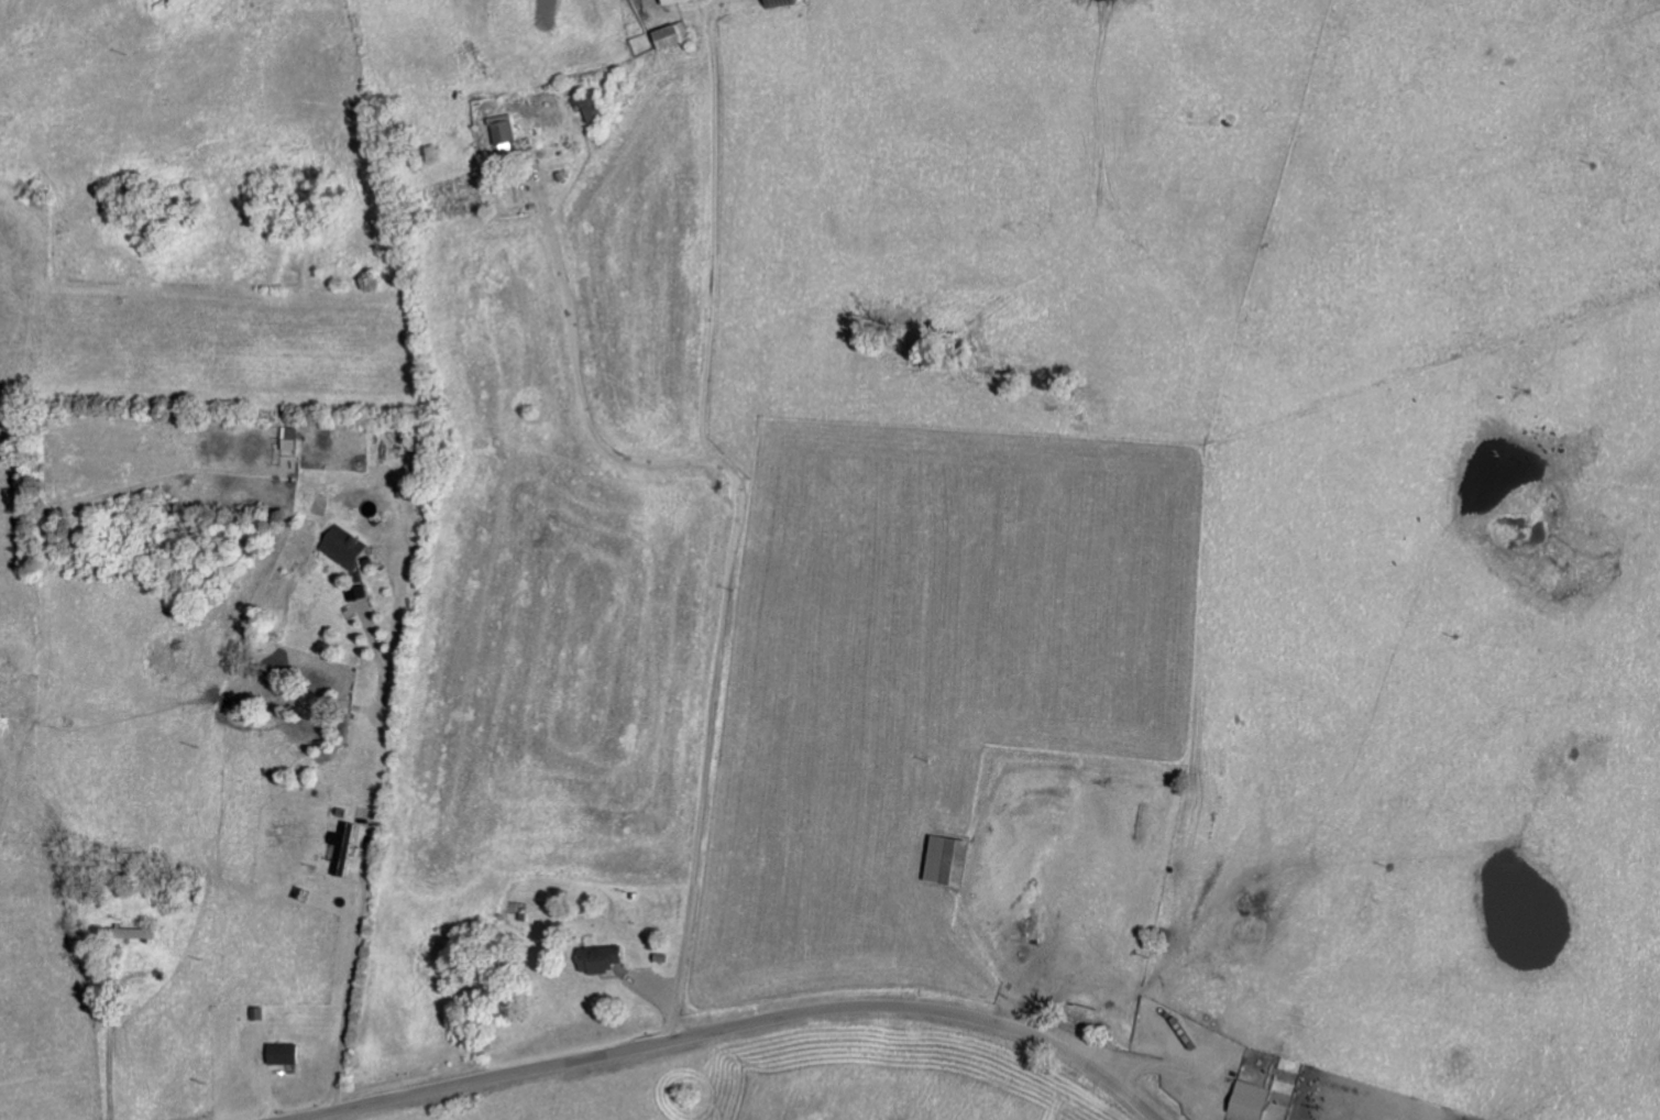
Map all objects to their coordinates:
building: (670, 1)
building: (670, 34)
building: (587, 105)
building: (503, 130)
building: (287, 437)
building: (341, 546)
road: (695, 585)
road: (1057, 844)
building: (339, 846)
building: (945, 858)
building: (131, 931)
building: (597, 956)
road: (729, 1025)
building: (281, 1052)
building: (1250, 1098)

